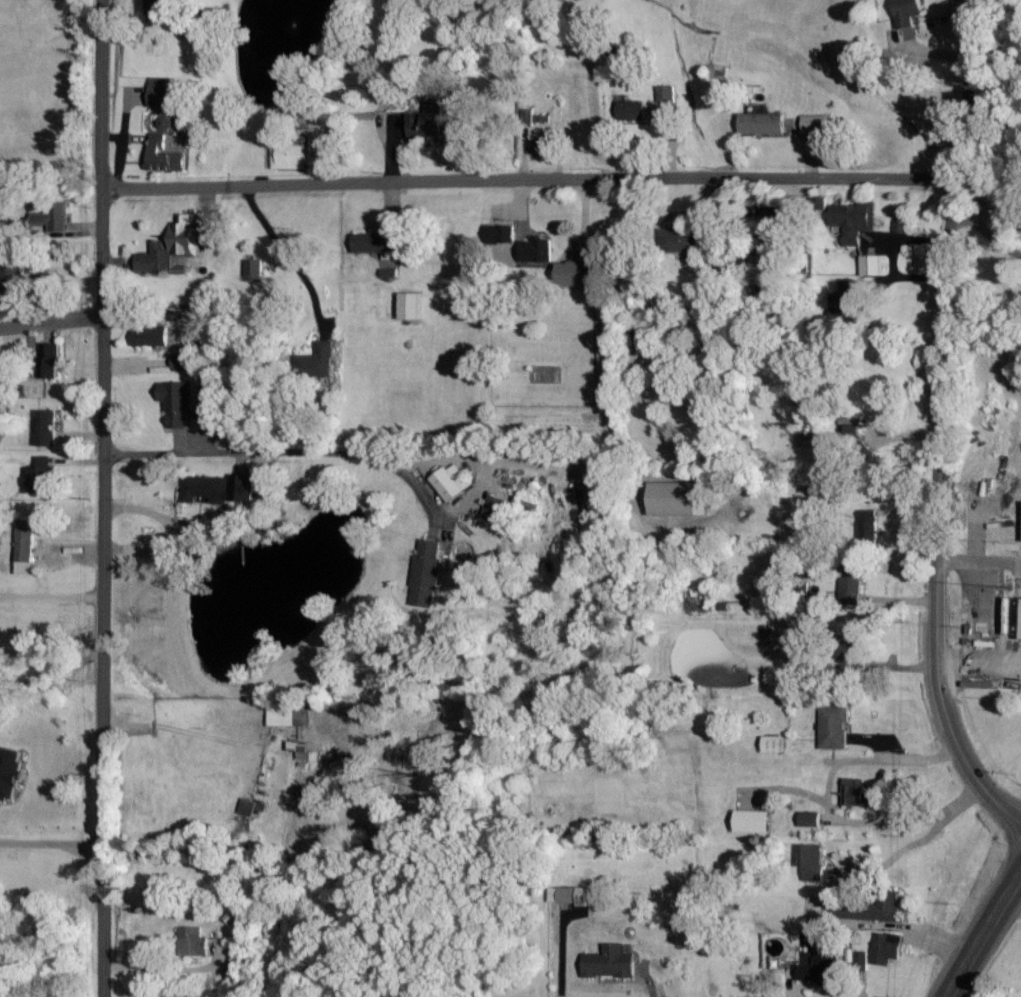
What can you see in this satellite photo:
building: (907, 12)
building: (157, 13)
building: (161, 92)
building: (666, 94)
building: (632, 111)
building: (536, 117)
building: (432, 122)
building: (166, 123)
building: (816, 123)
building: (762, 124)
building: (539, 144)
building: (164, 156)
building: (290, 156)
road: (528, 177)
building: (820, 203)
building: (54, 215)
building: (779, 215)
building: (855, 220)
building: (902, 226)
building: (501, 233)
road: (987, 233)
building: (680, 240)
building: (377, 243)
building: (172, 248)
building: (537, 250)
building: (502, 251)
road: (287, 253)
building: (872, 265)
building: (255, 270)
building: (390, 273)
building: (576, 273)
building: (11, 276)
building: (764, 282)
building: (846, 299)
building: (410, 306)
road: (51, 320)
building: (150, 331)
building: (49, 359)
building: (319, 359)
building: (181, 361)
building: (0, 379)
building: (207, 394)
building: (177, 401)
building: (854, 425)
building: (48, 427)
road: (280, 450)
building: (40, 478)
building: (452, 481)
building: (242, 487)
building: (207, 488)
building: (678, 497)
road: (937, 497)
road: (103, 498)
building: (495, 508)
building: (869, 525)
building: (194, 529)
building: (427, 573)
building: (852, 582)
road: (51, 595)
building: (1013, 616)
building: (850, 649)
road: (979, 654)
building: (289, 717)
building: (834, 726)
building: (774, 743)
building: (10, 770)
road: (827, 790)
building: (855, 791)
building: (248, 806)
building: (810, 818)
building: (752, 821)
road: (51, 843)
road: (893, 856)
building: (813, 861)
building: (575, 895)
building: (888, 905)
building: (850, 909)
road: (1015, 910)
building: (193, 941)
road: (986, 944)
building: (887, 947)
building: (863, 960)
building: (611, 961)
road: (164, 968)
building: (819, 969)

